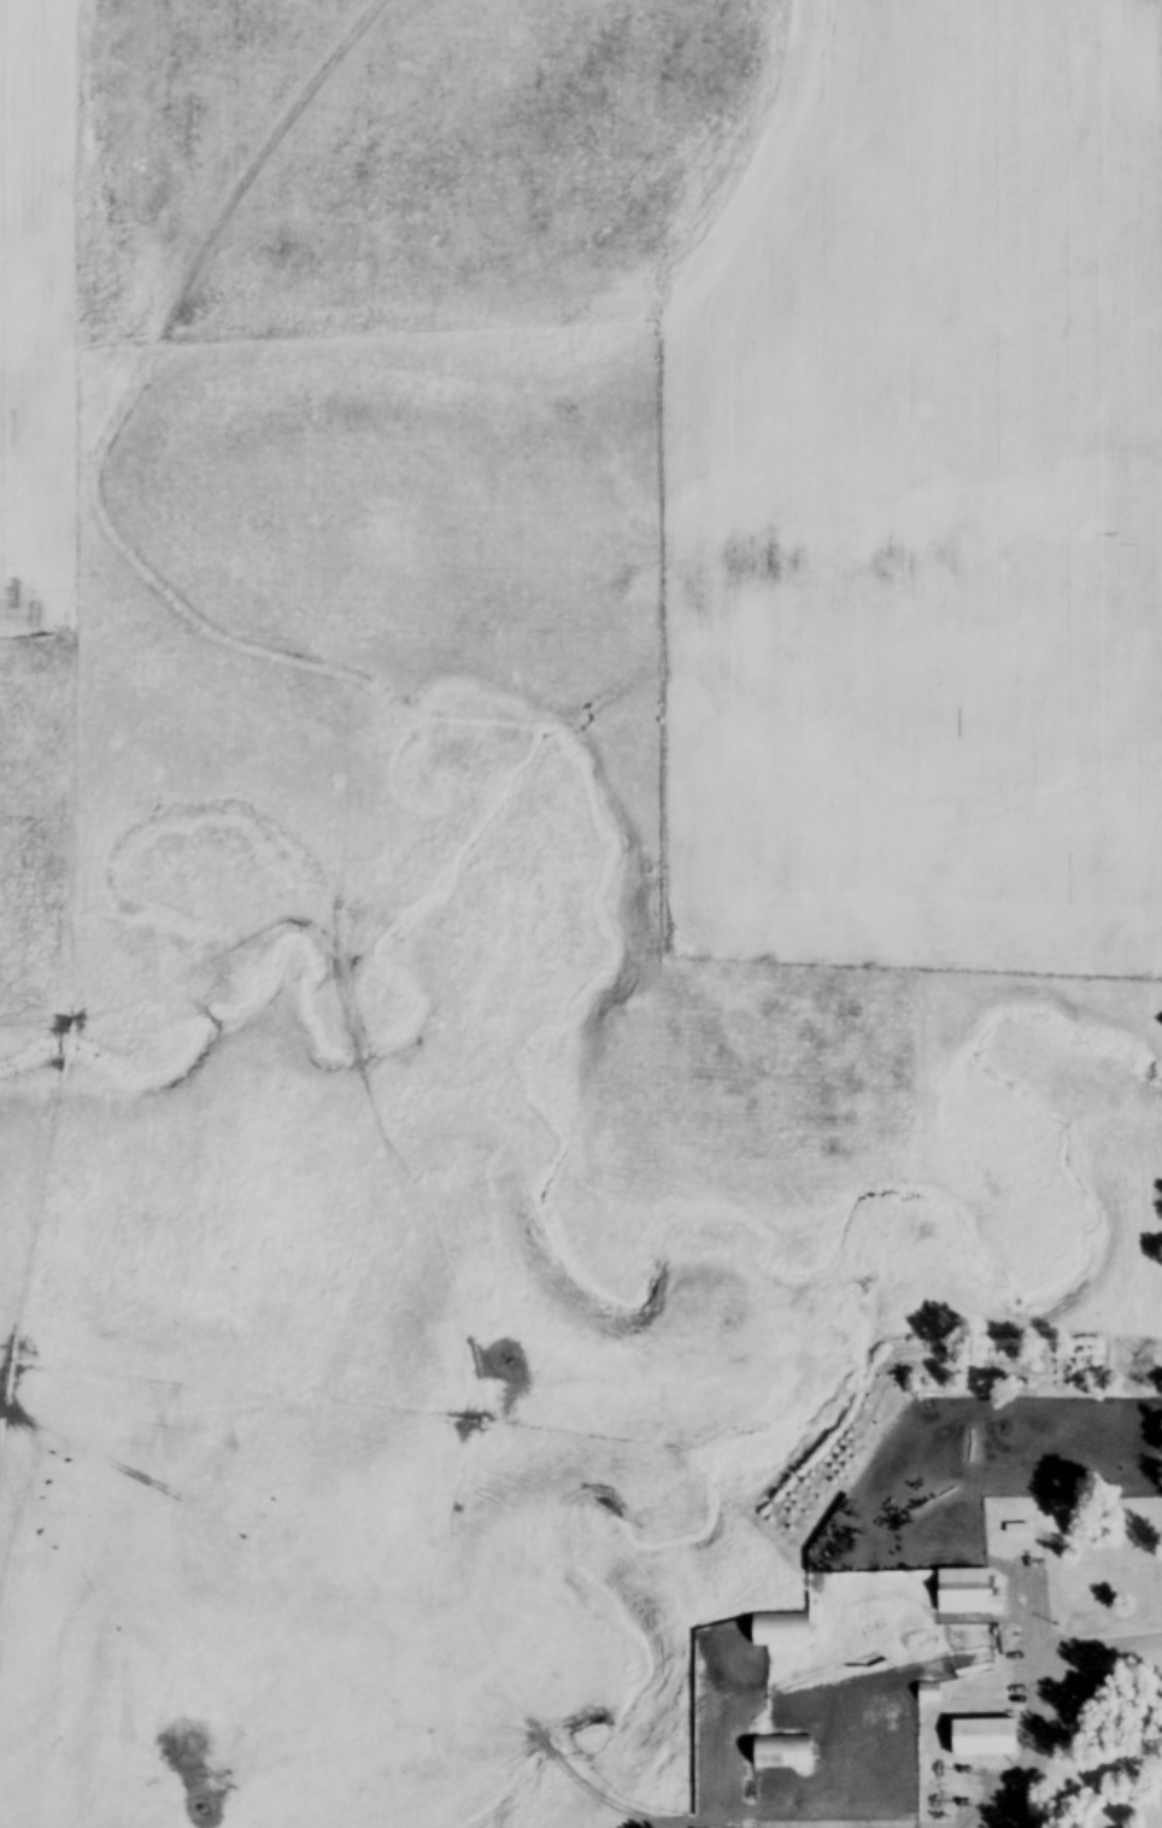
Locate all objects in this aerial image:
building: (967, 1594)
building: (781, 1631)
road: (1043, 1683)
building: (1101, 1691)
building: (929, 1694)
building: (984, 1739)
building: (784, 1753)

